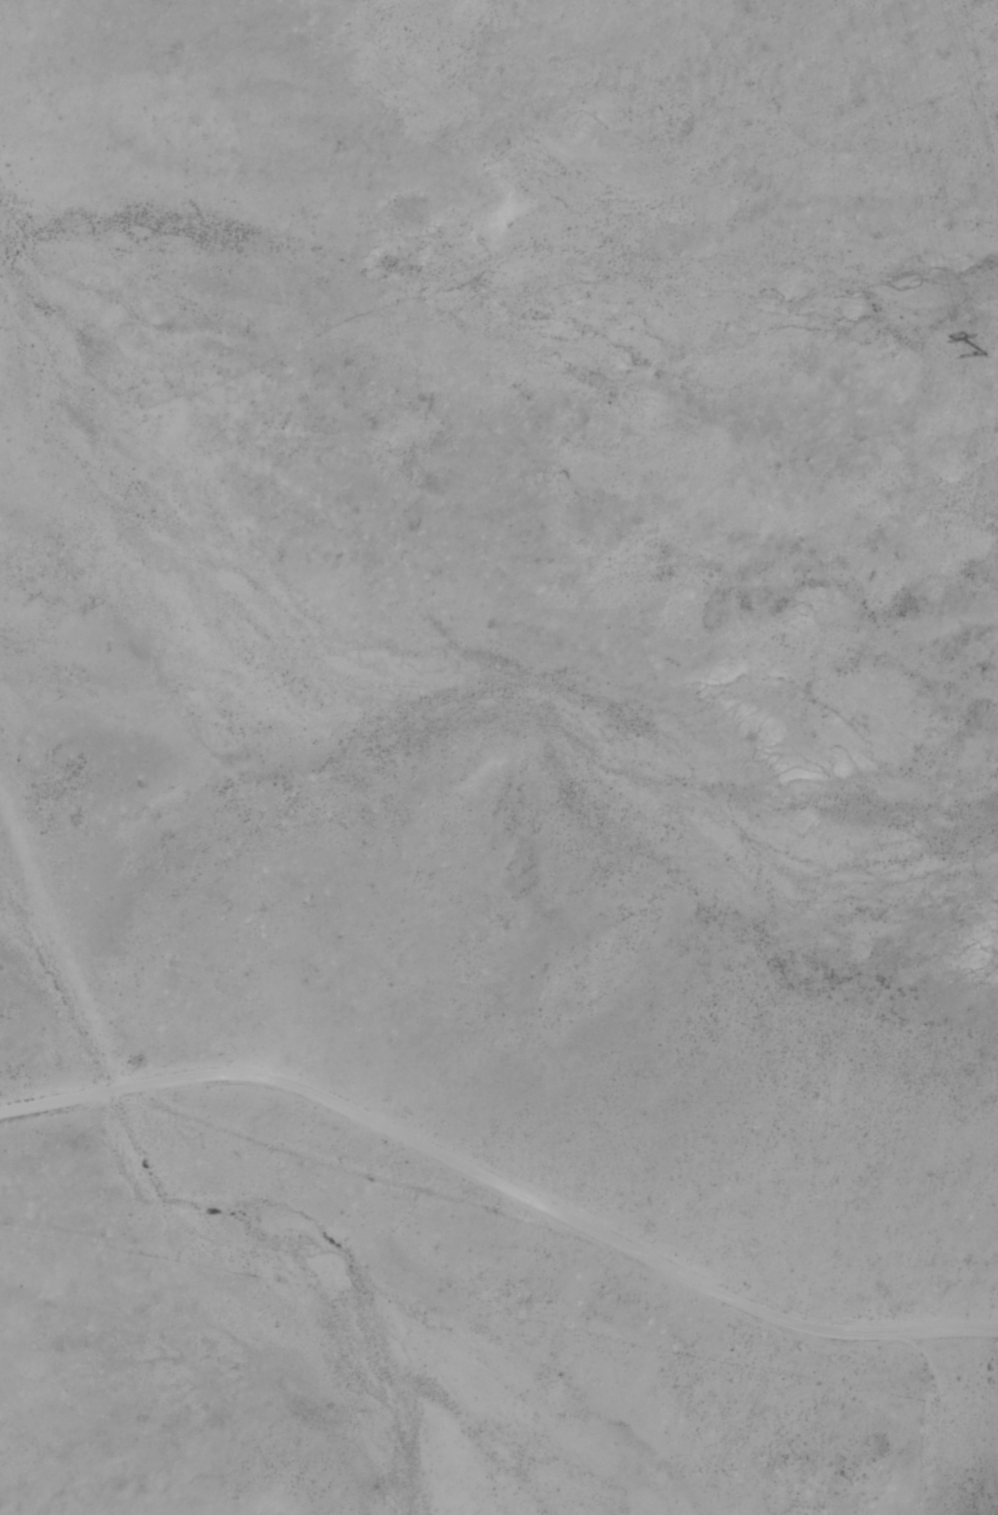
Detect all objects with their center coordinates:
power tower: (991, 353)
road: (500, 1183)

